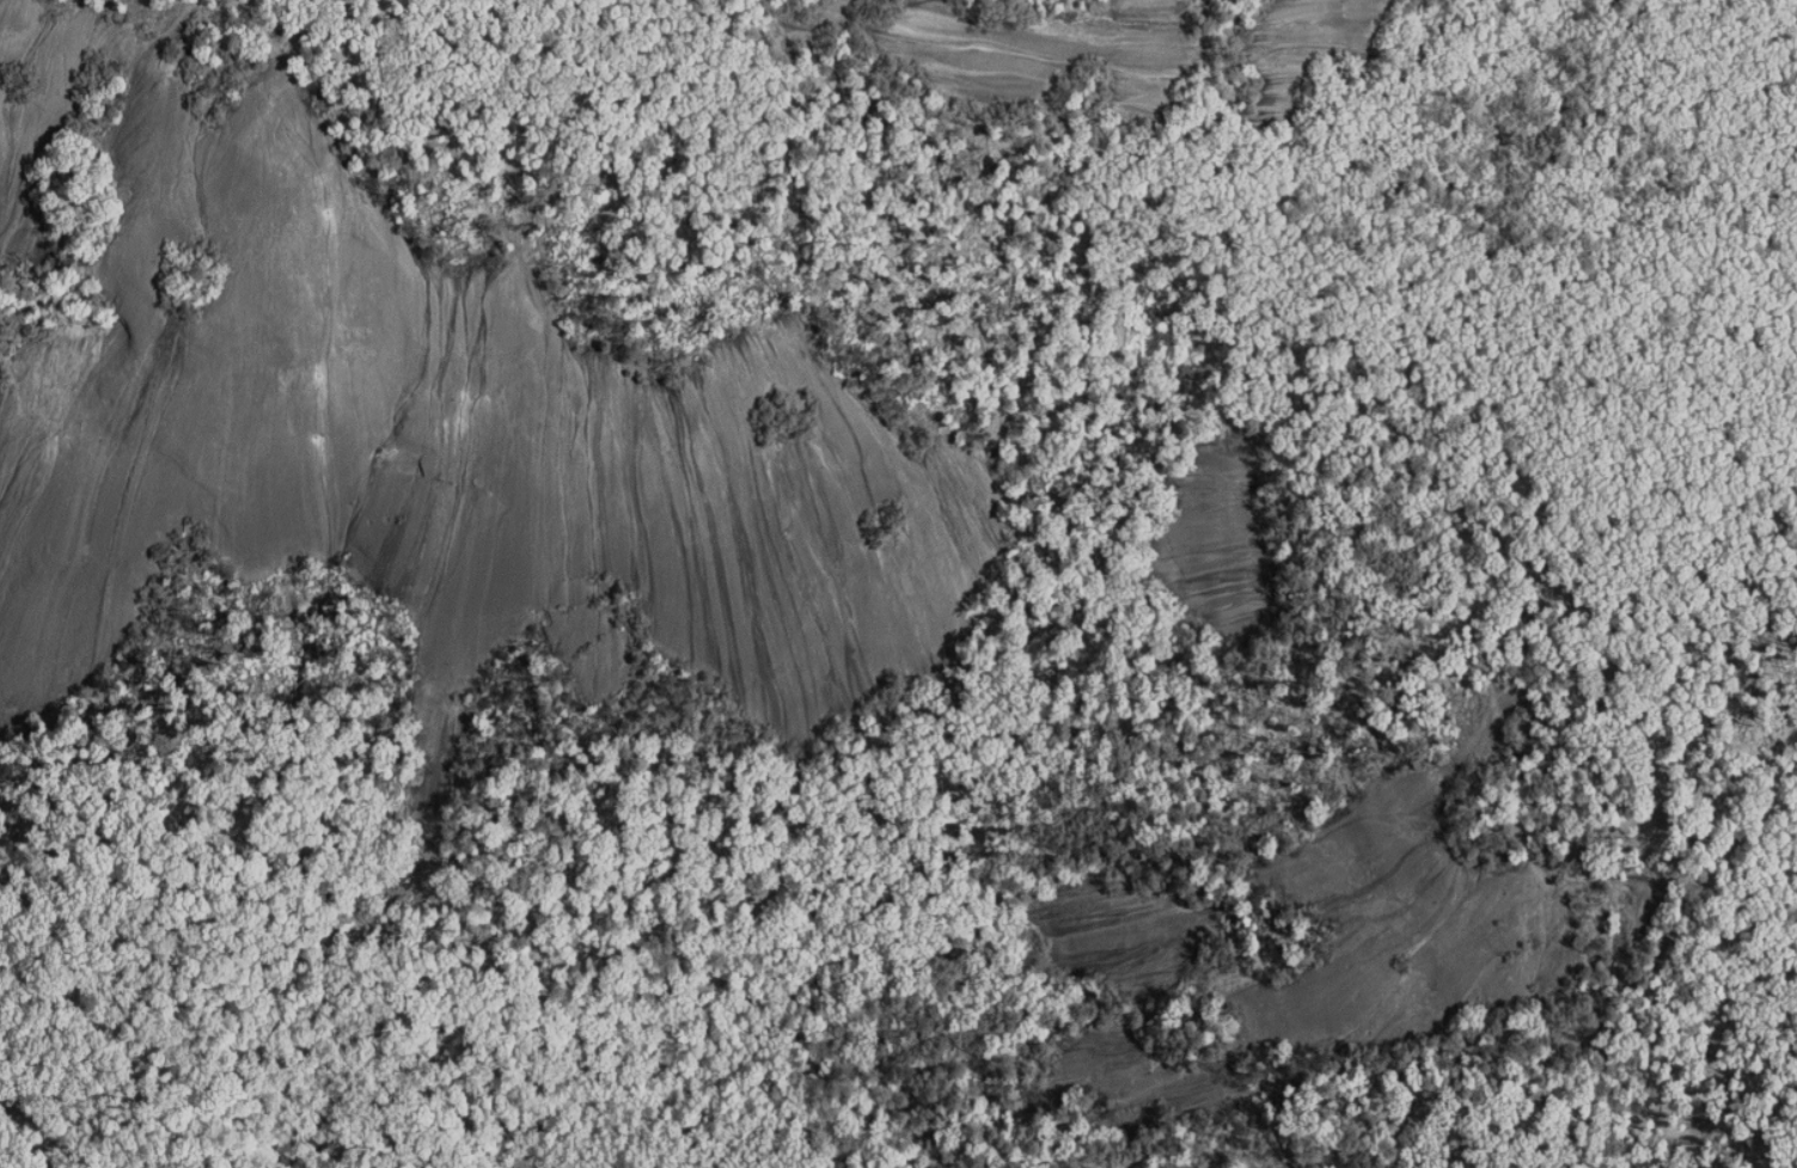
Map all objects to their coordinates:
road: (1129, 247)

